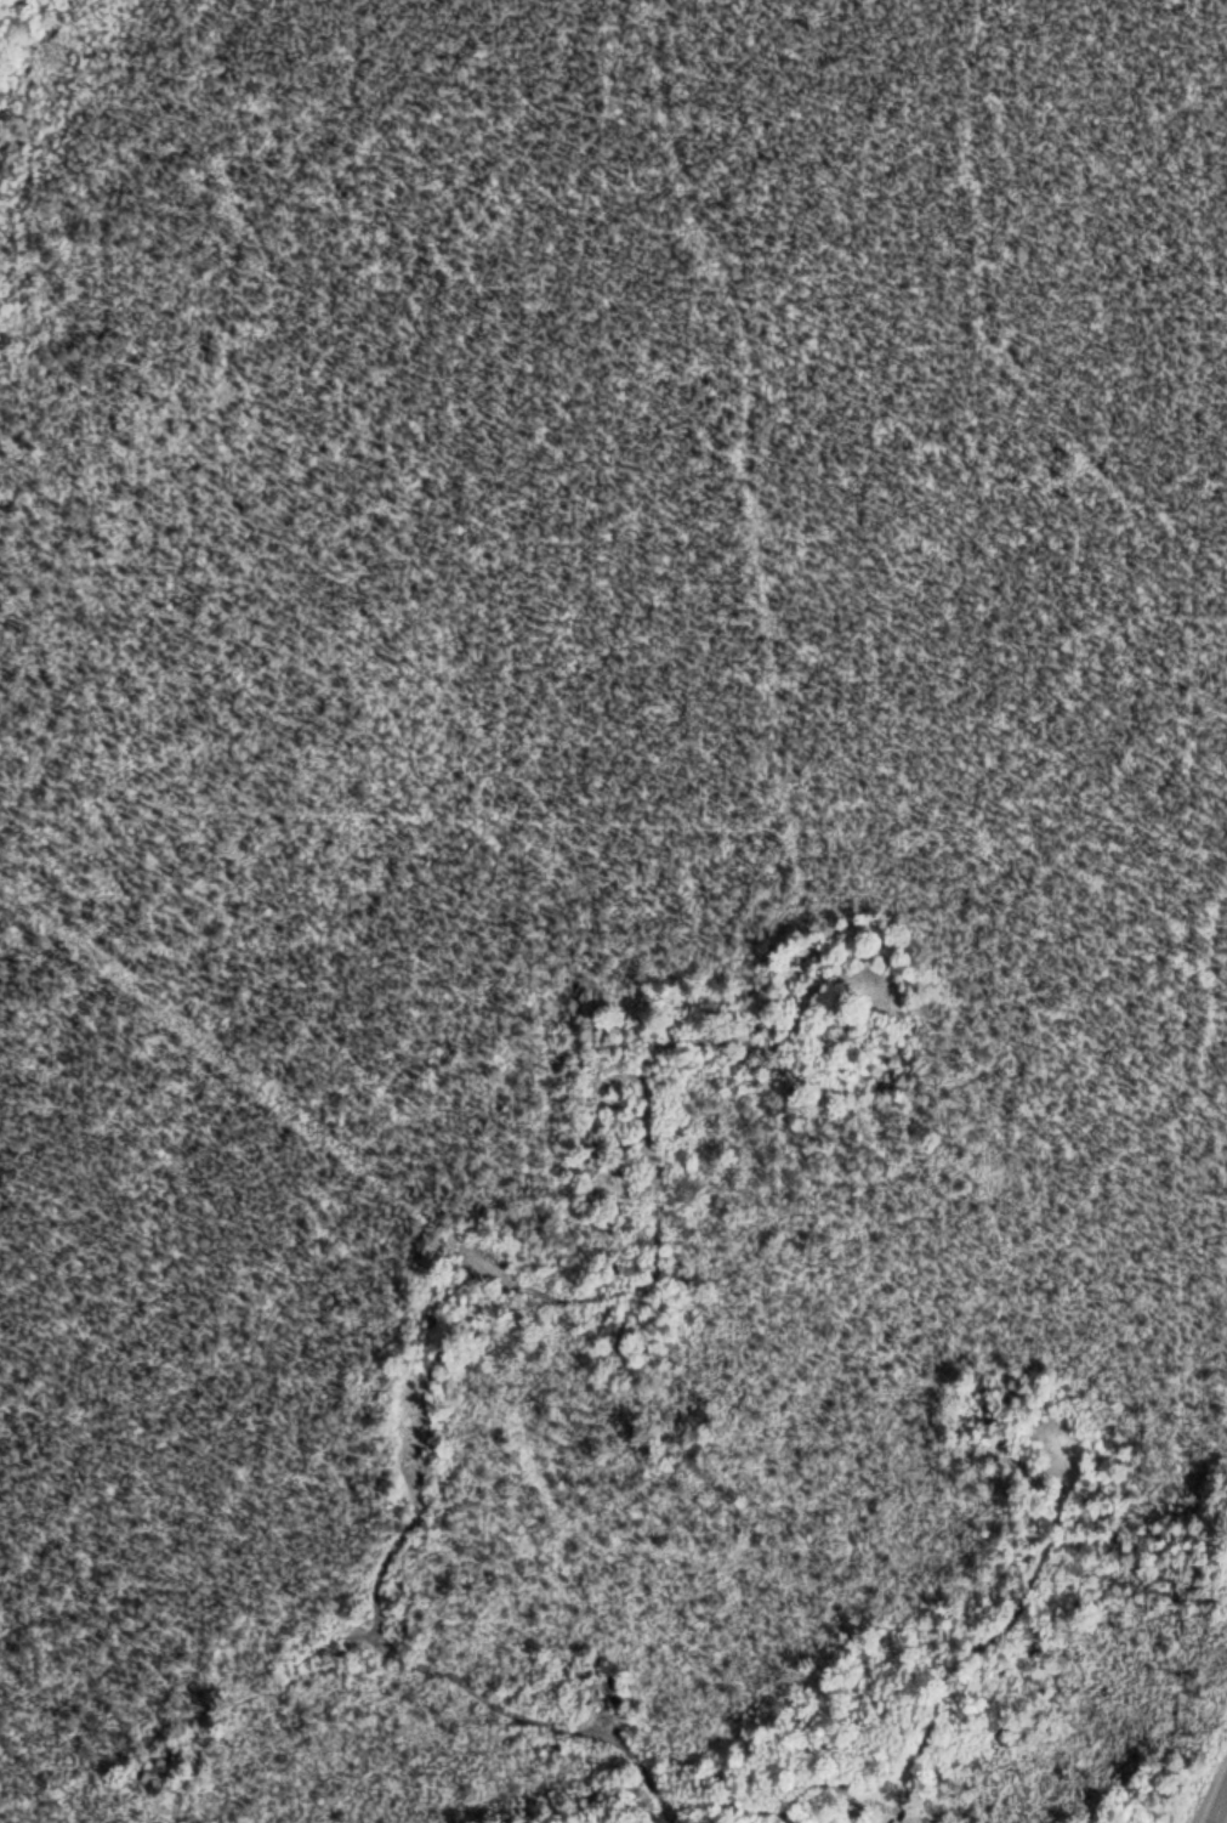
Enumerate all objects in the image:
road: (1219, 1804)

